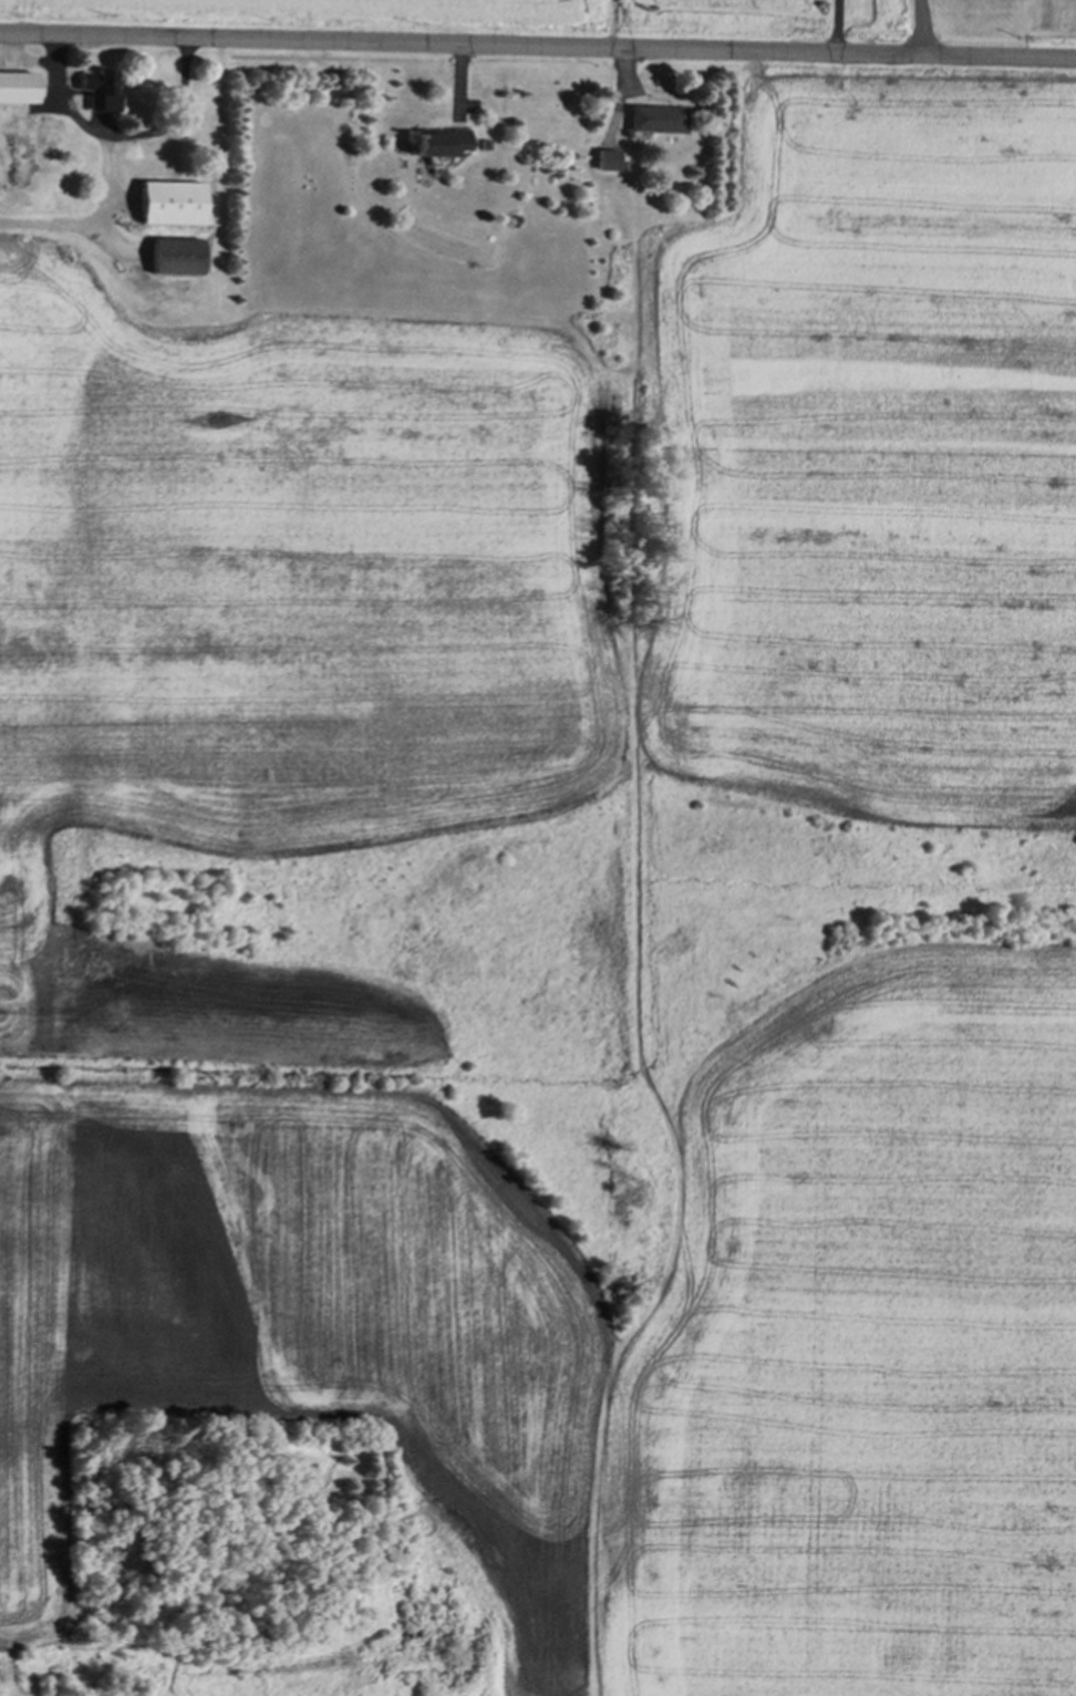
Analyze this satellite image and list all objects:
crop: (441, 3)
road: (839, 27)
road: (920, 28)
road: (538, 46)
building: (17, 90)
building: (97, 92)
building: (652, 122)
road: (125, 138)
building: (45, 146)
building: (434, 146)
building: (170, 206)
building: (176, 259)
crop: (32, 880)

